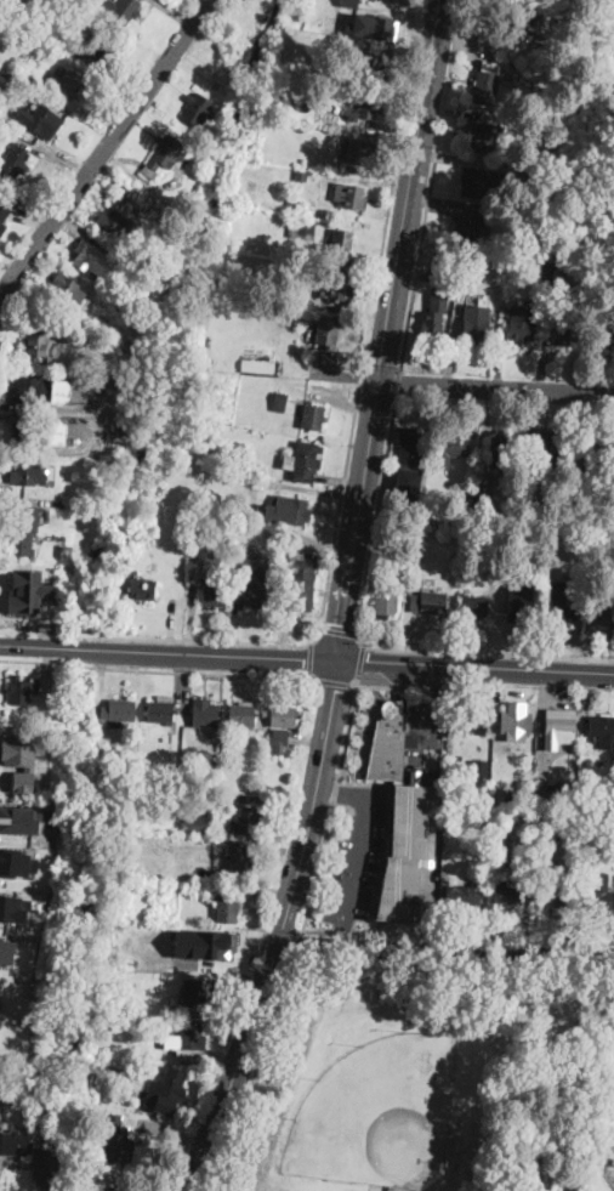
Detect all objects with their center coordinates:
building: (362, 0)
building: (349, 2)
building: (118, 10)
building: (340, 17)
building: (524, 18)
building: (382, 24)
park: (232, 42)
building: (97, 46)
building: (370, 64)
building: (24, 76)
building: (63, 80)
building: (487, 83)
building: (16, 87)
building: (363, 106)
building: (198, 108)
building: (38, 118)
building: (483, 134)
road: (104, 148)
building: (362, 152)
building: (164, 155)
building: (15, 160)
building: (305, 163)
building: (329, 164)
building: (302, 174)
building: (481, 181)
building: (130, 182)
road: (430, 183)
building: (351, 195)
building: (606, 204)
building: (294, 205)
building: (524, 215)
building: (2, 220)
building: (116, 223)
building: (468, 226)
building: (604, 228)
building: (303, 231)
building: (342, 242)
building: (91, 257)
building: (607, 270)
building: (580, 272)
building: (68, 289)
building: (340, 289)
building: (274, 294)
building: (436, 312)
building: (476, 323)
building: (522, 324)
building: (325, 330)
road: (388, 330)
building: (569, 334)
building: (606, 336)
building: (38, 341)
road: (15, 357)
building: (205, 362)
building: (97, 367)
road: (397, 382)
road: (496, 387)
building: (59, 390)
building: (32, 391)
building: (280, 402)
building: (27, 413)
building: (313, 418)
building: (56, 431)
building: (34, 435)
building: (413, 447)
building: (450, 449)
building: (502, 452)
building: (545, 453)
building: (593, 455)
building: (303, 460)
building: (29, 473)
road: (343, 476)
building: (408, 482)
building: (482, 500)
building: (251, 509)
building: (525, 509)
building: (289, 510)
road: (374, 521)
building: (24, 532)
building: (404, 549)
building: (417, 561)
building: (302, 583)
building: (142, 589)
building: (28, 590)
building: (256, 594)
building: (214, 596)
building: (385, 601)
building: (521, 602)
building: (430, 603)
building: (563, 603)
building: (476, 606)
building: (606, 613)
building: (500, 618)
road: (336, 629)
road: (488, 651)
road: (169, 652)
road: (312, 658)
road: (360, 659)
road: (474, 668)
road: (160, 669)
road: (334, 680)
road: (434, 682)
building: (45, 685)
road: (385, 685)
building: (21, 690)
building: (161, 709)
building: (118, 711)
building: (206, 714)
building: (241, 714)
building: (283, 716)
building: (471, 720)
building: (516, 720)
road: (347, 725)
parking lot: (425, 726)
building: (558, 728)
building: (603, 730)
road: (433, 732)
building: (212, 739)
building: (280, 739)
building: (390, 741)
building: (479, 767)
building: (540, 779)
building: (504, 783)
building: (565, 783)
road: (342, 788)
building: (601, 789)
road: (335, 792)
building: (561, 801)
building: (178, 815)
building: (598, 817)
building: (19, 818)
building: (249, 819)
building: (198, 824)
building: (178, 829)
building: (409, 850)
parking lot: (354, 855)
road: (357, 855)
building: (16, 862)
building: (239, 862)
road: (318, 868)
building: (204, 875)
building: (538, 875)
building: (599, 887)
building: (462, 895)
building: (506, 895)
building: (555, 898)
building: (597, 900)
building: (13, 907)
building: (224, 909)
road: (317, 929)
road: (280, 930)
road: (342, 930)
road: (396, 932)
road: (343, 934)
building: (201, 943)
road: (297, 943)
building: (6, 948)
road: (444, 951)
building: (199, 993)
building: (0, 1002)
building: (187, 1040)
road: (254, 1073)
road: (18, 1082)
park: (432, 1084)
building: (170, 1089)
park: (377, 1112)
building: (115, 1138)
building: (18, 1149)
building: (142, 1153)
building: (47, 1168)
building: (4, 1181)
building: (112, 1190)

